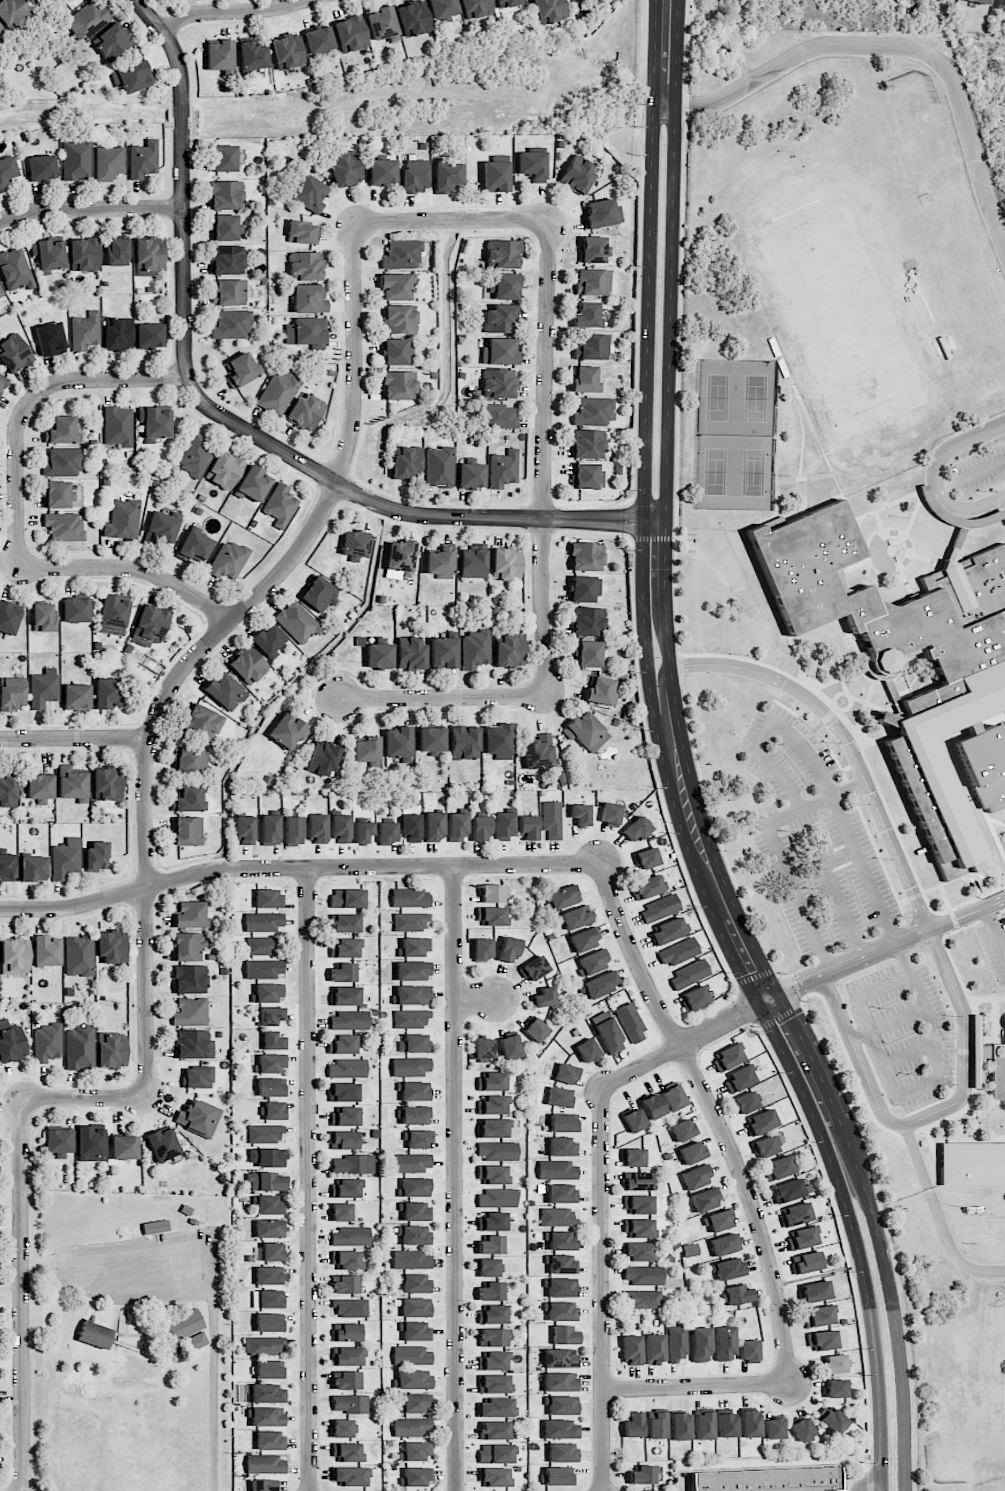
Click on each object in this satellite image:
building: (29, 1)
building: (596, 1)
building: (979, 1)
building: (506, 3)
building: (1000, 4)
building: (442, 8)
building: (475, 8)
building: (549, 10)
building: (12, 12)
road: (231, 12)
building: (413, 18)
building: (87, 19)
building: (381, 23)
building: (2, 33)
building: (350, 33)
building: (318, 39)
building: (112, 41)
road: (687, 45)
road: (889, 45)
building: (287, 51)
building: (220, 54)
building: (252, 55)
building: (131, 76)
road: (685, 104)
park: (894, 138)
building: (223, 158)
building: (76, 159)
building: (142, 159)
building: (108, 162)
building: (532, 165)
building: (42, 167)
building: (345, 168)
building: (6, 170)
building: (381, 171)
building: (578, 174)
building: (413, 175)
building: (446, 176)
building: (495, 176)
building: (309, 193)
building: (225, 195)
road: (90, 209)
building: (602, 213)
road: (451, 221)
building: (225, 227)
building: (301, 232)
building: (593, 249)
building: (117, 251)
building: (502, 253)
building: (84, 254)
building: (401, 254)
building: (48, 255)
building: (148, 255)
building: (227, 259)
building: (305, 265)
building: (15, 269)
building: (592, 281)
road: (638, 283)
building: (396, 286)
building: (506, 286)
building: (229, 291)
building: (0, 292)
building: (308, 298)
building: (587, 315)
building: (499, 318)
building: (398, 319)
park: (841, 319)
building: (231, 325)
building: (85, 330)
building: (306, 332)
building: (118, 334)
building: (150, 335)
building: (50, 338)
building: (591, 346)
building: (396, 351)
building: (500, 351)
building: (14, 352)
building: (240, 370)
building: (585, 379)
building: (3, 382)
building: (499, 383)
building: (399, 385)
road: (679, 385)
building: (277, 391)
road: (28, 405)
building: (306, 411)
building: (498, 415)
building: (155, 422)
road: (232, 422)
building: (118, 426)
building: (61, 430)
park: (734, 434)
building: (587, 443)
building: (195, 454)
road: (544, 458)
building: (63, 461)
building: (407, 462)
building: (439, 466)
building: (503, 468)
parking lot: (980, 469)
building: (224, 470)
road: (980, 470)
road: (934, 474)
building: (470, 476)
building: (586, 476)
building: (253, 484)
building: (57, 494)
building: (280, 505)
road: (631, 518)
building: (123, 519)
building: (64, 526)
building: (162, 526)
road: (652, 538)
building: (194, 546)
building: (354, 546)
building: (586, 556)
building: (400, 557)
building: (228, 560)
building: (472, 561)
building: (440, 562)
building: (506, 563)
road: (131, 567)
building: (583, 589)
building: (318, 593)
building: (75, 609)
building: (113, 613)
building: (9, 617)
building: (43, 617)
building: (587, 620)
building: (297, 621)
building: (149, 625)
building: (268, 640)
road: (206, 644)
building: (475, 649)
building: (509, 650)
building: (443, 652)
building: (410, 653)
building: (588, 653)
building: (379, 656)
building: (247, 664)
road: (680, 665)
building: (43, 688)
building: (601, 690)
building: (225, 691)
building: (962, 692)
building: (12, 693)
building: (108, 693)
building: (76, 696)
road: (442, 697)
building: (203, 722)
building: (288, 731)
building: (586, 731)
road: (648, 734)
road: (817, 734)
road: (75, 738)
building: (431, 740)
building: (498, 740)
road: (761, 741)
building: (398, 742)
building: (465, 742)
building: (366, 749)
building: (538, 751)
building: (323, 758)
building: (187, 759)
road: (689, 764)
road: (664, 765)
road: (868, 765)
building: (71, 782)
building: (107, 783)
building: (40, 788)
road: (850, 788)
building: (8, 791)
road: (832, 796)
building: (189, 798)
building: (580, 814)
building: (610, 814)
building: (551, 819)
building: (504, 825)
building: (433, 826)
building: (457, 826)
building: (411, 827)
building: (480, 827)
building: (527, 827)
road: (715, 827)
building: (317, 828)
building: (340, 828)
building: (244, 829)
building: (270, 829)
building: (635, 829)
building: (187, 830)
building: (293, 830)
building: (362, 831)
building: (387, 832)
parking lot: (813, 837)
building: (97, 855)
road: (877, 855)
road: (840, 857)
building: (66, 858)
building: (646, 858)
building: (7, 866)
road: (296, 866)
building: (33, 868)
road: (950, 880)
building: (646, 887)
building: (491, 893)
road: (914, 895)
building: (563, 896)
road: (945, 897)
building: (268, 898)
building: (347, 898)
building: (410, 898)
road: (903, 901)
building: (659, 908)
road: (843, 910)
building: (189, 914)
building: (491, 915)
building: (576, 917)
building: (264, 921)
building: (410, 921)
building: (345, 923)
building: (667, 931)
road: (995, 931)
road: (929, 933)
building: (584, 939)
building: (260, 945)
road: (891, 945)
building: (112, 946)
building: (189, 946)
building: (415, 946)
parking lot: (994, 946)
building: (345, 948)
building: (482, 949)
building: (508, 949)
building: (46, 951)
building: (678, 952)
building: (14, 955)
building: (79, 955)
building: (593, 961)
building: (264, 968)
building: (534, 968)
building: (412, 970)
road: (782, 970)
building: (343, 972)
building: (688, 974)
traffic signals: (745, 974)
road: (756, 975)
building: (190, 979)
building: (599, 984)
traffic signals: (799, 985)
road: (792, 989)
building: (268, 992)
road: (737, 992)
building: (345, 995)
building: (411, 995)
building: (544, 997)
building: (694, 998)
road: (475, 999)
building: (190, 1011)
road: (736, 1013)
building: (270, 1015)
road: (781, 1016)
building: (410, 1018)
traffic signals: (733, 1018)
traffic signals: (791, 1018)
building: (350, 1020)
building: (1004, 1021)
building: (630, 1022)
road: (753, 1024)
road: (887, 1024)
building: (535, 1030)
building: (607, 1032)
parking lot: (904, 1032)
building: (1004, 1034)
building: (272, 1041)
road: (689, 1041)
building: (11, 1042)
building: (46, 1042)
building: (414, 1043)
building: (193, 1044)
building: (342, 1044)
building: (80, 1045)
building: (509, 1046)
building: (111, 1049)
building: (483, 1050)
building: (587, 1050)
road: (961, 1051)
building: (975, 1051)
road: (907, 1054)
building: (727, 1057)
building: (271, 1062)
building: (411, 1066)
building: (347, 1068)
building: (997, 1071)
building: (566, 1073)
building: (197, 1076)
building: (738, 1079)
building: (491, 1081)
building: (270, 1087)
building: (414, 1091)
building: (343, 1092)
road: (907, 1093)
building: (560, 1097)
building: (672, 1097)
road: (83, 1099)
building: (745, 1102)
building: (491, 1104)
building: (652, 1106)
building: (274, 1110)
building: (345, 1115)
building: (415, 1115)
road: (715, 1116)
building: (198, 1118)
building: (634, 1120)
building: (760, 1122)
building: (563, 1123)
building: (492, 1128)
building: (682, 1129)
building: (265, 1133)
building: (343, 1139)
building: (419, 1139)
building: (59, 1140)
building: (91, 1143)
building: (162, 1144)
building: (562, 1146)
building: (765, 1146)
building: (124, 1147)
building: (496, 1150)
building: (692, 1152)
building: (267, 1156)
building: (633, 1157)
building: (411, 1162)
building: (972, 1163)
building: (352, 1164)
building: (779, 1167)
building: (557, 1169)
building: (492, 1174)
building: (696, 1176)
road: (307, 1178)
road: (454, 1178)
building: (636, 1180)
building: (265, 1181)
building: (414, 1187)
building: (345, 1188)
building: (790, 1190)
building: (562, 1193)
building: (496, 1198)
building: (706, 1199)
building: (637, 1203)
building: (267, 1204)
building: (417, 1211)
building: (341, 1212)
building: (795, 1214)
road: (938, 1216)
building: (557, 1217)
building: (719, 1220)
building: (492, 1221)
building: (155, 1226)
building: (269, 1228)
building: (639, 1228)
building: (414, 1235)
building: (350, 1236)
building: (802, 1238)
road: (888, 1239)
building: (561, 1240)
building: (490, 1244)
building: (725, 1244)
building: (689, 1249)
building: (638, 1251)
building: (271, 1252)
road: (849, 1252)
road: (72, 1259)
building: (411, 1259)
building: (346, 1260)
building: (805, 1262)
building: (561, 1264)
building: (488, 1267)
building: (729, 1268)
building: (268, 1275)
building: (643, 1275)
building: (415, 1283)
building: (344, 1284)
building: (561, 1287)
road: (602, 1289)
building: (490, 1291)
building: (815, 1291)
building: (738, 1294)
road: (22, 1295)
building: (267, 1298)
building: (644, 1299)
building: (350, 1307)
building: (415, 1307)
building: (562, 1311)
building: (492, 1314)
building: (819, 1315)
building: (269, 1323)
building: (185, 1324)
building: (346, 1331)
building: (416, 1331)
building: (95, 1334)
building: (564, 1335)
building: (492, 1337)
building: (821, 1340)
building: (195, 1341)
building: (677, 1343)
building: (724, 1343)
building: (700, 1344)
building: (263, 1345)
building: (654, 1348)
building: (631, 1349)
building: (748, 1349)
building: (412, 1355)
building: (346, 1356)
building: (561, 1358)
building: (492, 1360)
building: (834, 1364)
building: (270, 1369)
building: (414, 1379)
building: (346, 1380)
building: (560, 1381)
building: (494, 1383)
road: (213, 1386)
road: (696, 1386)
building: (836, 1387)
building: (266, 1393)
building: (416, 1402)
building: (350, 1403)
building: (560, 1404)
building: (496, 1407)
building: (268, 1416)
building: (831, 1419)
building: (656, 1424)
building: (750, 1424)
building: (633, 1425)
building: (726, 1425)
building: (411, 1426)
building: (680, 1426)
building: (703, 1426)
building: (341, 1428)
building: (774, 1428)
building: (559, 1429)
building: (802, 1429)
park: (967, 1429)
building: (497, 1430)
building: (269, 1440)
building: (415, 1451)
building: (347, 1452)
building: (562, 1452)
building: (495, 1453)
building: (265, 1464)
building: (642, 1474)
building: (348, 1475)
building: (416, 1476)
building: (556, 1476)
building: (494, 1477)
building: (767, 1480)
road: (867, 1481)
road: (682, 1483)
building: (261, 1485)
building: (653, 1490)

